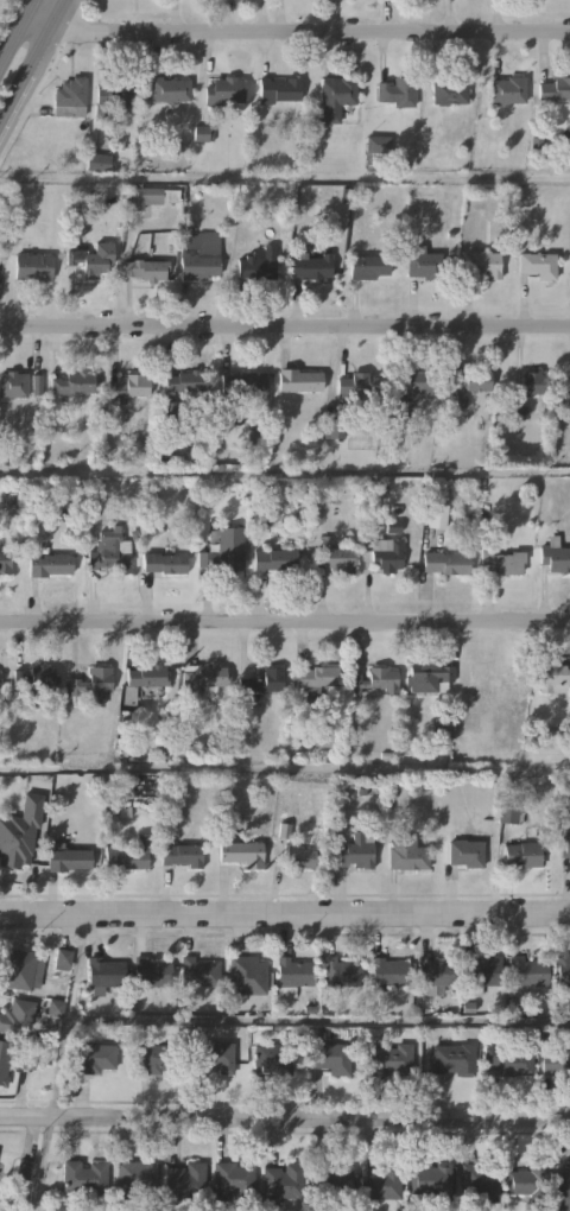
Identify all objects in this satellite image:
road: (0, 0)
road: (15, 28)
road: (293, 31)
road: (32, 62)
building: (279, 88)
building: (508, 88)
building: (556, 88)
building: (170, 89)
building: (223, 89)
building: (451, 90)
building: (112, 91)
building: (397, 91)
building: (338, 94)
building: (70, 97)
building: (202, 135)
building: (99, 160)
road: (285, 175)
building: (151, 197)
building: (198, 255)
building: (91, 258)
building: (260, 262)
building: (33, 265)
building: (484, 265)
building: (312, 266)
building: (424, 266)
building: (539, 266)
building: (368, 267)
building: (146, 270)
road: (284, 324)
building: (184, 380)
building: (479, 380)
building: (534, 380)
building: (300, 382)
building: (76, 383)
building: (242, 383)
building: (13, 385)
building: (357, 385)
building: (422, 385)
building: (36, 386)
building: (128, 387)
road: (285, 471)
building: (436, 516)
building: (110, 553)
building: (224, 556)
building: (556, 557)
building: (6, 558)
building: (275, 558)
building: (335, 558)
building: (389, 558)
building: (503, 562)
building: (50, 563)
building: (165, 563)
building: (448, 563)
road: (285, 620)
building: (148, 674)
building: (0, 676)
building: (37, 676)
building: (202, 676)
building: (494, 676)
building: (430, 677)
building: (555, 677)
building: (376, 678)
building: (315, 679)
building: (261, 680)
building: (93, 683)
road: (285, 766)
building: (20, 833)
building: (563, 849)
building: (241, 851)
building: (464, 851)
building: (355, 852)
building: (128, 854)
building: (406, 854)
building: (183, 855)
building: (299, 855)
building: (520, 856)
building: (68, 857)
road: (285, 915)
building: (62, 962)
building: (21, 969)
building: (106, 971)
building: (199, 971)
building: (342, 971)
building: (388, 971)
building: (528, 971)
building: (563, 971)
building: (153, 972)
building: (481, 972)
building: (433, 974)
building: (247, 975)
building: (293, 975)
road: (64, 1015)
building: (18, 1017)
road: (317, 1020)
building: (216, 1055)
building: (274, 1055)
building: (97, 1058)
building: (157, 1058)
building: (330, 1058)
building: (5, 1059)
building: (450, 1059)
building: (508, 1059)
building: (388, 1060)
building: (556, 1061)
road: (285, 1116)
road: (43, 1162)
building: (85, 1175)
building: (137, 1177)
building: (233, 1180)
building: (186, 1181)
building: (281, 1181)
building: (331, 1181)
building: (432, 1181)
building: (481, 1181)
building: (527, 1183)
building: (563, 1184)
building: (382, 1185)

